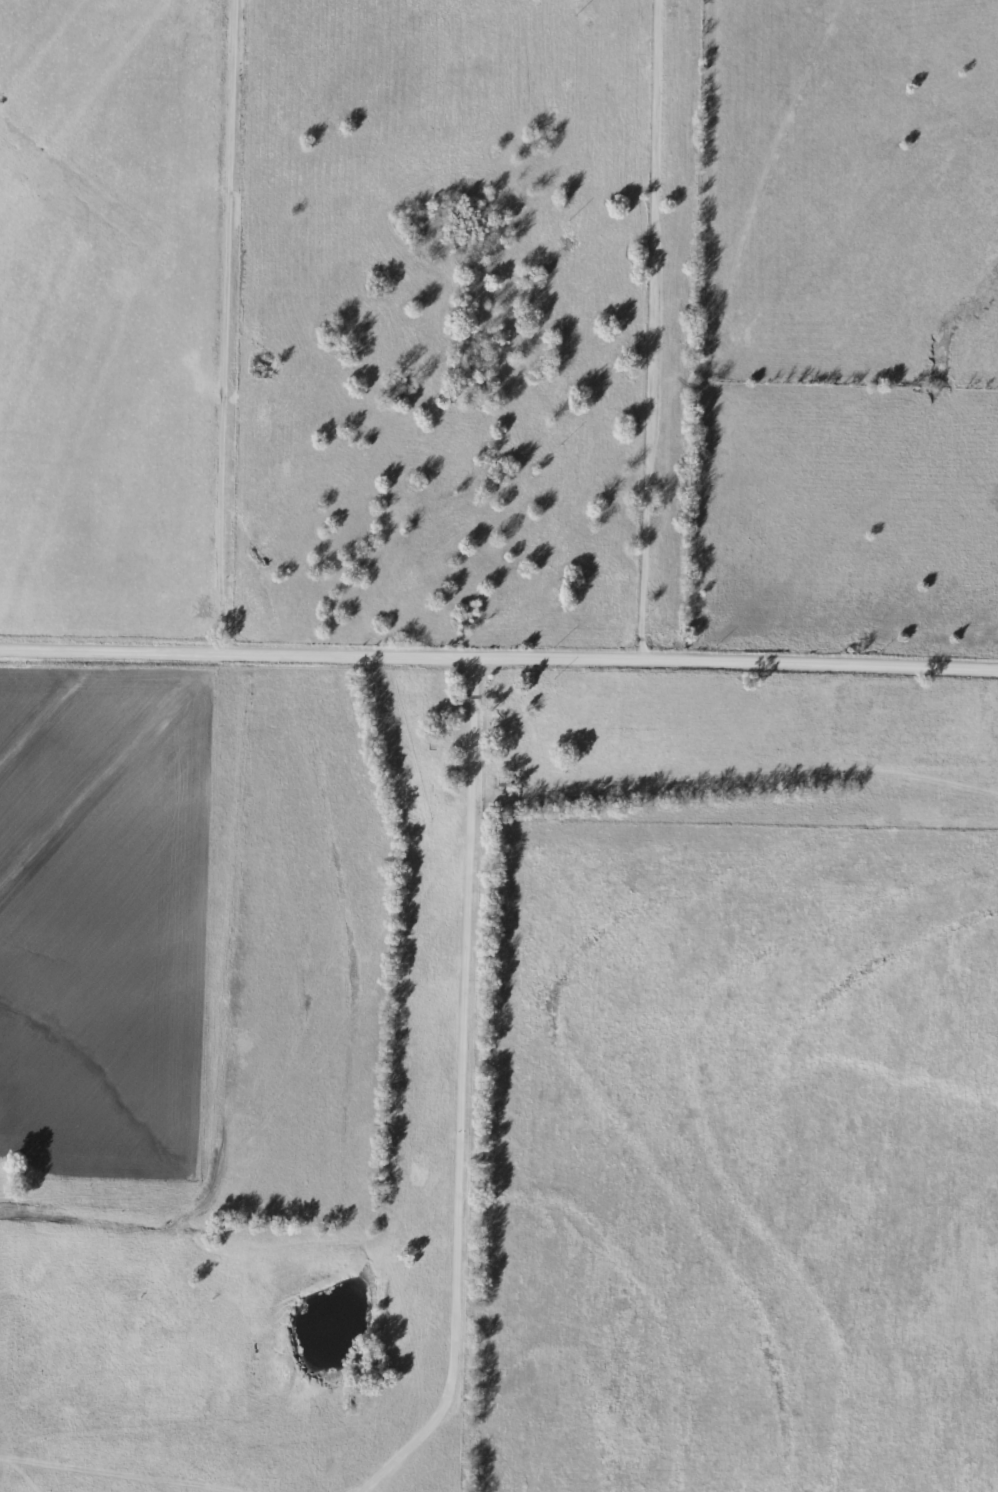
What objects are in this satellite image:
road: (221, 327)
road: (647, 330)
road: (109, 652)
road: (428, 658)
road: (818, 665)
road: (451, 1091)

